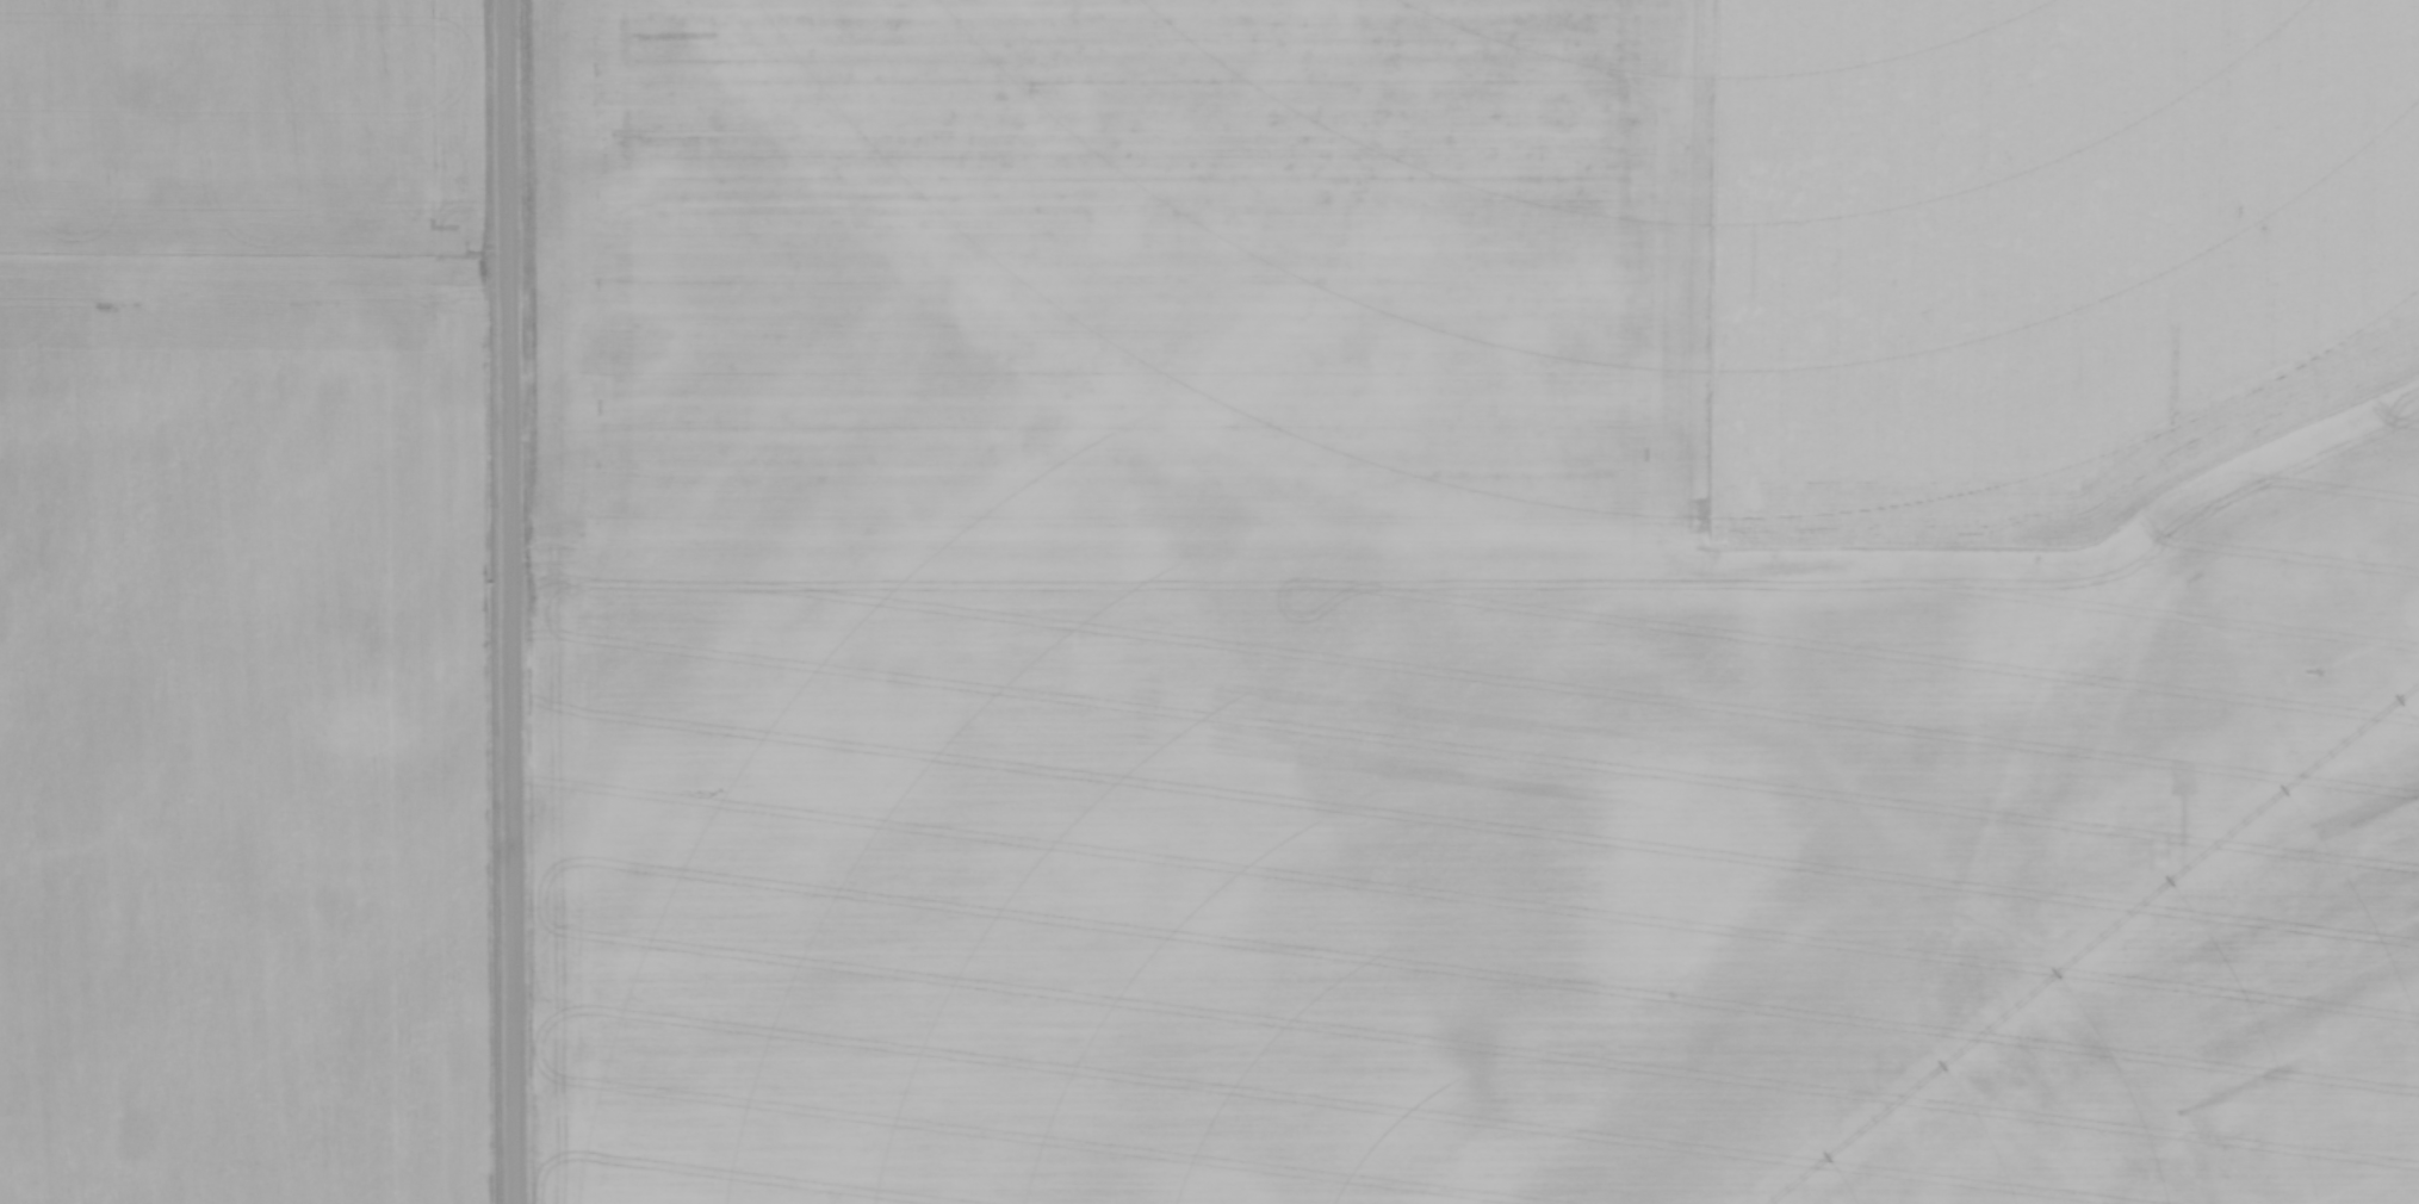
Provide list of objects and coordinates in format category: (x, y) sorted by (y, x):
road: (510, 602)

